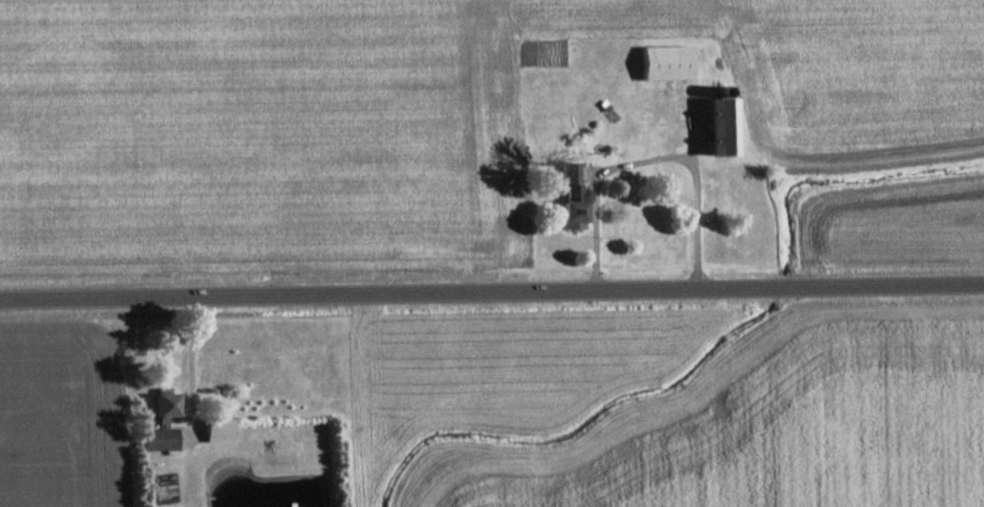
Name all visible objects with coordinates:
building: (664, 63)
crop: (393, 117)
building: (719, 129)
road: (645, 161)
building: (567, 177)
building: (567, 223)
crop: (901, 237)
road: (492, 293)
crop: (69, 418)
building: (159, 426)
building: (216, 431)
crop: (799, 433)

